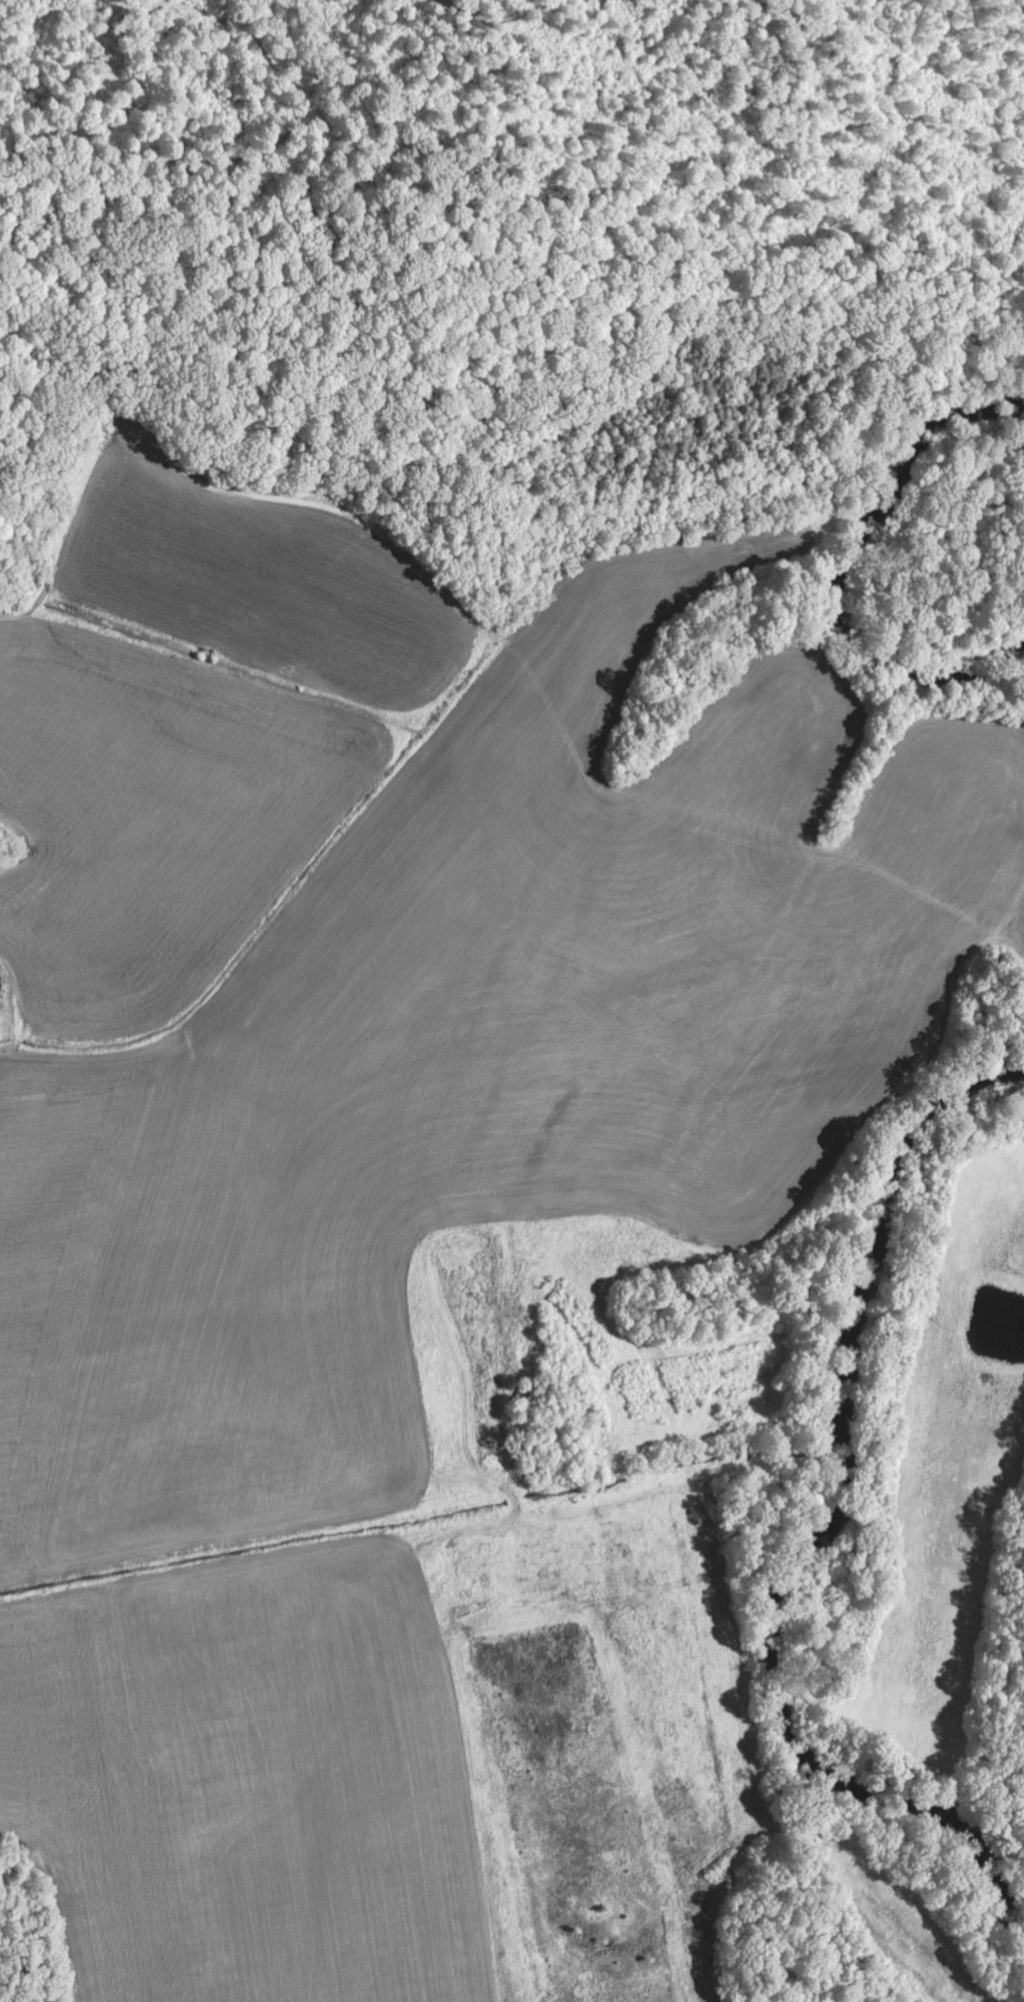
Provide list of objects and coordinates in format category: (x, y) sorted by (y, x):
river: (848, 573)
river: (819, 1541)

